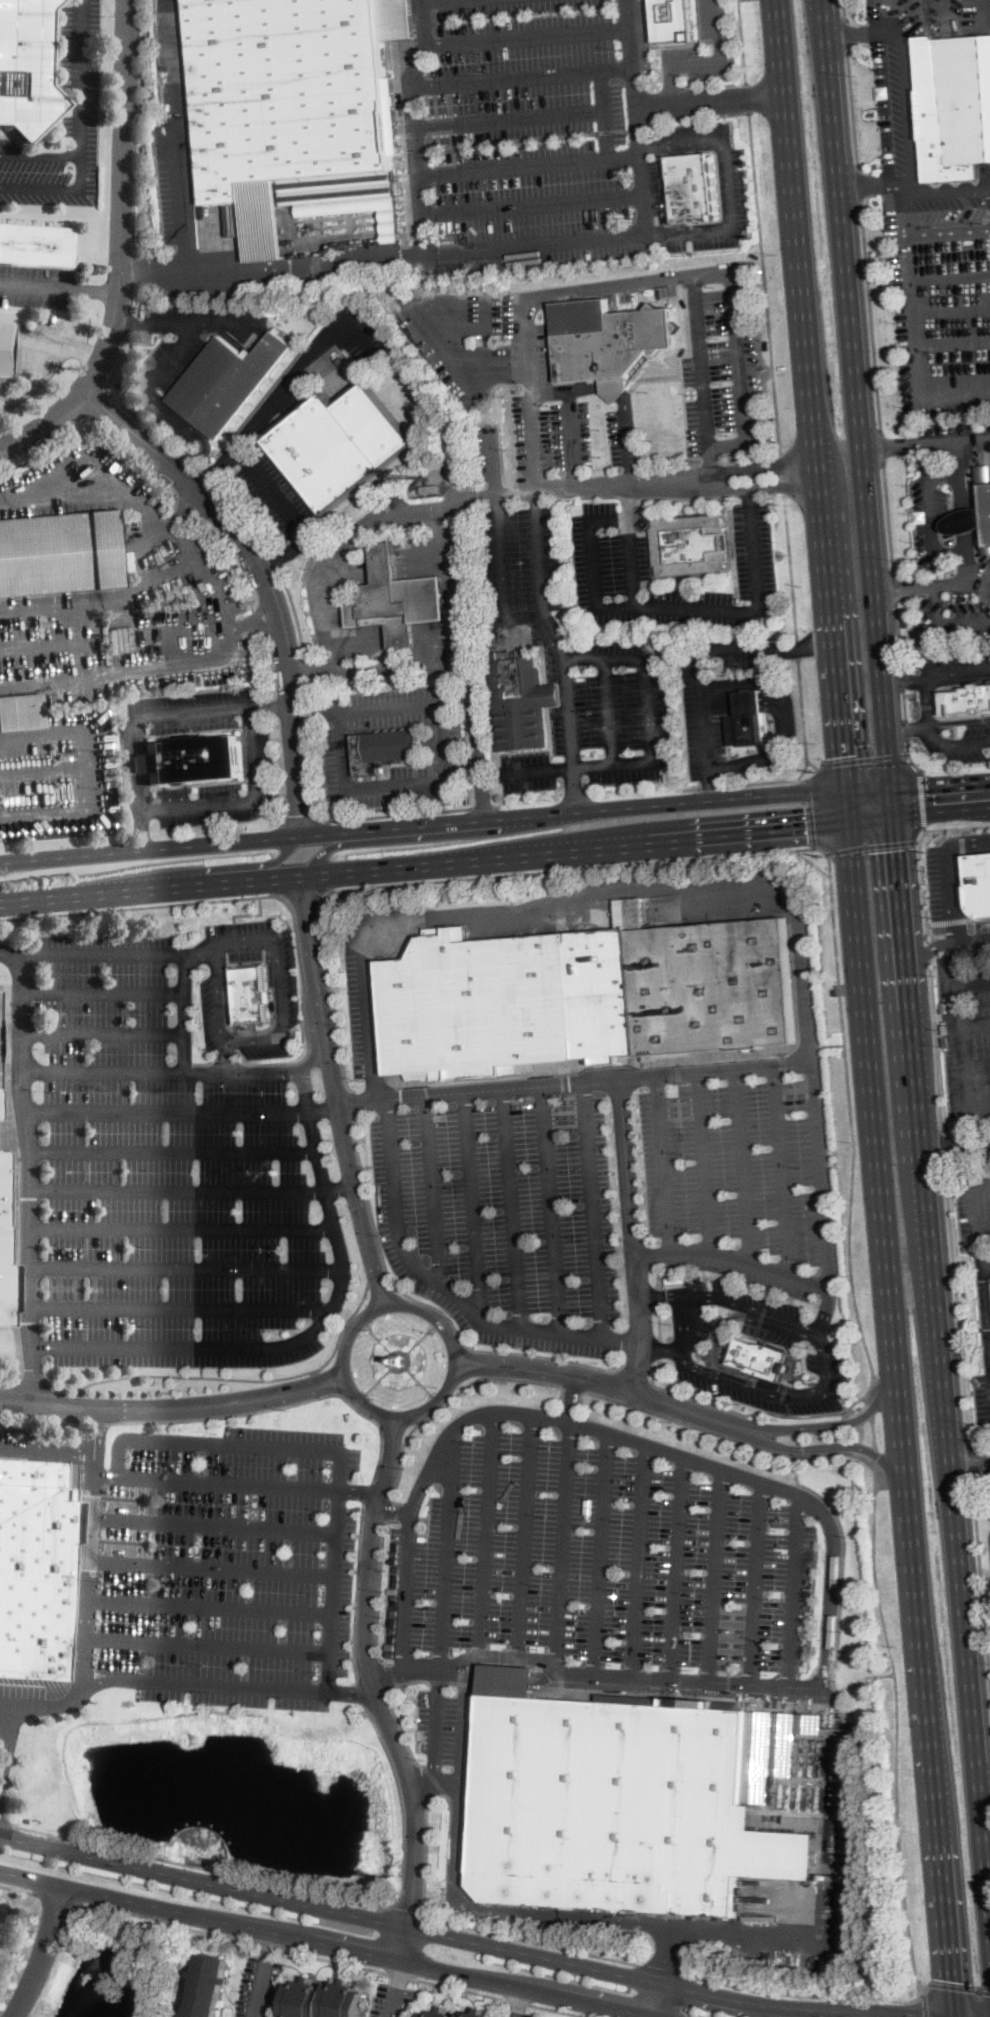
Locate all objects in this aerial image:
road: (743, 0)
road: (844, 10)
parking lot: (977, 15)
parking lot: (915, 16)
building: (670, 19)
road: (873, 30)
road: (525, 35)
road: (847, 36)
road: (742, 41)
road: (630, 52)
building: (26, 67)
parking lot: (77, 67)
road: (519, 74)
road: (79, 77)
road: (747, 97)
road: (711, 99)
building: (953, 105)
road: (637, 106)
road: (898, 107)
road: (852, 108)
building: (295, 110)
road: (605, 111)
parking lot: (896, 111)
road: (509, 118)
road: (140, 123)
parking lot: (527, 131)
parking lot: (694, 135)
building: (145, 149)
road: (39, 152)
road: (527, 163)
road: (184, 172)
parking lot: (47, 173)
road: (728, 181)
parking lot: (733, 182)
road: (858, 185)
road: (56, 187)
building: (691, 188)
road: (915, 188)
parking lot: (169, 202)
road: (530, 203)
road: (795, 236)
building: (35, 245)
road: (123, 250)
road: (472, 250)
road: (307, 264)
road: (908, 265)
road: (729, 267)
road: (137, 268)
parking lot: (667, 281)
road: (764, 282)
road: (34, 284)
parking lot: (34, 285)
road: (95, 289)
parking lot: (939, 298)
road: (135, 300)
road: (527, 309)
road: (871, 319)
road: (132, 322)
road: (188, 324)
road: (427, 335)
parking lot: (477, 337)
road: (355, 339)
road: (953, 340)
building: (608, 342)
building: (5, 347)
parking lot: (48, 351)
parking lot: (331, 352)
road: (90, 354)
parking lot: (184, 355)
road: (172, 357)
parking lot: (722, 360)
road: (43, 365)
building: (640, 369)
building: (225, 382)
road: (619, 393)
road: (930, 394)
road: (122, 405)
road: (270, 406)
road: (861, 407)
road: (173, 413)
parking lot: (550, 433)
road: (571, 437)
road: (974, 440)
road: (988, 441)
road: (912, 445)
building: (340, 446)
road: (883, 448)
road: (199, 456)
road: (190, 461)
road: (492, 463)
road: (710, 464)
building: (983, 472)
road: (788, 473)
road: (90, 483)
parking lot: (942, 483)
parking lot: (85, 487)
building: (430, 489)
road: (273, 492)
road: (491, 493)
parking lot: (279, 498)
road: (627, 499)
road: (187, 510)
road: (965, 512)
building: (985, 512)
building: (690, 516)
road: (930, 516)
road: (888, 519)
building: (963, 522)
road: (183, 541)
building: (690, 545)
road: (538, 550)
road: (286, 551)
building: (60, 553)
parking lot: (608, 553)
parking lot: (753, 557)
parking lot: (524, 561)
road: (277, 564)
road: (789, 565)
road: (268, 576)
building: (695, 577)
road: (980, 581)
road: (924, 586)
road: (896, 589)
road: (502, 598)
building: (396, 601)
road: (986, 601)
road: (44, 603)
parking lot: (958, 604)
road: (634, 607)
road: (294, 610)
parking lot: (178, 619)
road: (943, 623)
parking lot: (545, 630)
road: (899, 636)
road: (66, 641)
road: (804, 646)
parking lot: (52, 647)
road: (797, 647)
road: (832, 647)
road: (230, 657)
road: (461, 662)
parking lot: (955, 666)
road: (305, 667)
road: (398, 667)
road: (697, 672)
road: (959, 673)
road: (902, 677)
road: (959, 679)
road: (907, 681)
road: (647, 685)
road: (307, 693)
parking lot: (696, 693)
building: (965, 700)
building: (520, 701)
road: (926, 701)
building: (749, 703)
road: (904, 704)
road: (272, 705)
parking lot: (395, 706)
parking lot: (192, 708)
road: (384, 708)
road: (607, 711)
building: (21, 712)
road: (308, 715)
parking lot: (600, 715)
road: (958, 721)
road: (784, 723)
road: (909, 728)
building: (747, 729)
road: (907, 730)
road: (62, 732)
road: (954, 742)
parking lot: (971, 745)
building: (384, 750)
traffic signals: (842, 755)
road: (806, 757)
road: (864, 757)
road: (909, 757)
building: (188, 760)
road: (813, 765)
parking lot: (397, 772)
road: (44, 773)
parking lot: (58, 773)
road: (814, 774)
road: (710, 785)
road: (711, 785)
road: (942, 785)
traffic signals: (926, 786)
parking lot: (224, 788)
road: (396, 788)
road: (691, 788)
road: (870, 789)
road: (574, 790)
road: (922, 798)
road: (135, 807)
road: (64, 808)
road: (943, 810)
road: (810, 813)
road: (351, 816)
road: (872, 819)
traffic signals: (806, 826)
road: (422, 827)
road: (960, 830)
road: (140, 831)
road: (968, 842)
road: (961, 843)
road: (872, 845)
road: (333, 847)
traffic signals: (900, 848)
road: (577, 849)
road: (919, 852)
road: (811, 861)
road: (235, 867)
road: (456, 877)
building: (978, 883)
road: (153, 889)
road: (302, 893)
parking lot: (950, 897)
road: (139, 906)
road: (251, 913)
road: (954, 914)
road: (949, 921)
road: (929, 923)
parking lot: (239, 929)
road: (235, 941)
road: (973, 941)
road: (218, 948)
road: (929, 948)
road: (928, 951)
road: (161, 952)
road: (11, 958)
road: (103, 991)
building: (252, 991)
building: (584, 996)
parking lot: (275, 1002)
road: (303, 1004)
parking lot: (211, 1009)
parking lot: (361, 1013)
road: (975, 1023)
road: (282, 1025)
road: (251, 1031)
road: (103, 1034)
parking lot: (967, 1035)
road: (962, 1041)
road: (832, 1044)
road: (937, 1047)
road: (225, 1055)
road: (313, 1055)
road: (918, 1060)
road: (977, 1066)
road: (771, 1067)
road: (331, 1071)
road: (161, 1072)
road: (305, 1092)
road: (355, 1102)
road: (357, 1102)
road: (324, 1109)
road: (166, 1111)
road: (958, 1146)
road: (944, 1148)
road: (173, 1151)
road: (705, 1163)
road: (664, 1165)
road: (743, 1166)
road: (783, 1171)
parking lot: (160, 1173)
road: (28, 1183)
road: (341, 1189)
road: (432, 1189)
road: (15, 1190)
road: (178, 1192)
road: (822, 1195)
road: (976, 1204)
road: (473, 1205)
parking lot: (974, 1206)
road: (513, 1208)
road: (551, 1209)
road: (594, 1210)
parking lot: (626, 1216)
road: (333, 1223)
road: (182, 1228)
road: (851, 1232)
road: (633, 1236)
road: (980, 1252)
road: (715, 1253)
building: (5, 1258)
road: (186, 1269)
road: (657, 1274)
road: (445, 1286)
road: (387, 1287)
road: (376, 1289)
road: (657, 1295)
road: (658, 1295)
road: (785, 1295)
road: (727, 1299)
road: (424, 1302)
road: (956, 1303)
road: (179, 1309)
road: (686, 1316)
road: (359, 1319)
road: (659, 1320)
road: (420, 1339)
road: (175, 1346)
road: (660, 1347)
road: (686, 1348)
building: (759, 1357)
building: (398, 1359)
building: (796, 1359)
road: (456, 1360)
road: (515, 1361)
road: (390, 1363)
road: (749, 1365)
road: (32, 1373)
road: (512, 1373)
road: (634, 1376)
road: (230, 1378)
road: (378, 1380)
road: (419, 1380)
road: (282, 1386)
road: (572, 1388)
road: (805, 1396)
parking lot: (982, 1396)
road: (285, 1397)
road: (572, 1398)
road: (868, 1398)
road: (661, 1402)
road: (434, 1404)
road: (447, 1404)
road: (278, 1406)
road: (108, 1408)
road: (869, 1410)
road: (43, 1415)
road: (900, 1419)
road: (98, 1421)
road: (833, 1425)
road: (872, 1431)
road: (400, 1433)
road: (390, 1434)
parking lot: (5, 1441)
road: (836, 1447)
road: (47, 1450)
road: (873, 1453)
road: (970, 1453)
road: (971, 1463)
road: (228, 1483)
road: (367, 1491)
road: (360, 1493)
road: (817, 1493)
road: (395, 1511)
road: (214, 1524)
road: (875, 1526)
road: (488, 1535)
road: (526, 1537)
parking lot: (989, 1540)
road: (562, 1547)
road: (446, 1552)
road: (601, 1553)
road: (336, 1554)
road: (639, 1560)
building: (35, 1566)
road: (211, 1567)
parking lot: (217, 1567)
parking lot: (612, 1567)
road: (677, 1567)
road: (716, 1575)
road: (833, 1575)
road: (755, 1583)
road: (964, 1587)
road: (378, 1589)
road: (355, 1591)
road: (408, 1592)
road: (793, 1592)
road: (982, 1600)
road: (210, 1605)
road: (86, 1619)
road: (207, 1646)
road: (392, 1673)
road: (352, 1691)
road: (376, 1692)
road: (361, 1694)
parking lot: (64, 1695)
parking lot: (20, 1701)
road: (7, 1708)
road: (394, 1710)
parking lot: (447, 1722)
road: (436, 1723)
road: (436, 1779)
road: (434, 1780)
road: (986, 1790)
building: (627, 1800)
road: (6, 1823)
road: (3, 1827)
road: (899, 1833)
road: (428, 1849)
road: (18, 1888)
road: (304, 1890)
road: (55, 1897)
road: (472, 1911)
road: (408, 1914)
road: (172, 1923)
road: (752, 1928)
road: (534, 1941)
road: (474, 1942)
road: (326, 1943)
road: (404, 1943)
road: (275, 1946)
road: (26, 1949)
road: (46, 1954)
road: (334, 1958)
road: (667, 1970)
road: (399, 1972)
road: (263, 1974)
traffic signals: (950, 1980)
building: (208, 1987)
parking lot: (259, 1987)
road: (459, 1987)
road: (396, 1988)
road: (960, 1988)
road: (799, 1994)
road: (919, 1995)
building: (323, 2000)
parking lot: (392, 2000)
road: (517, 2000)
road: (660, 2001)
road: (517, 2002)
road: (925, 2004)
road: (560, 2009)
building: (438, 2013)
parking lot: (519, 2013)
building: (476, 2014)
road: (954, 2016)

